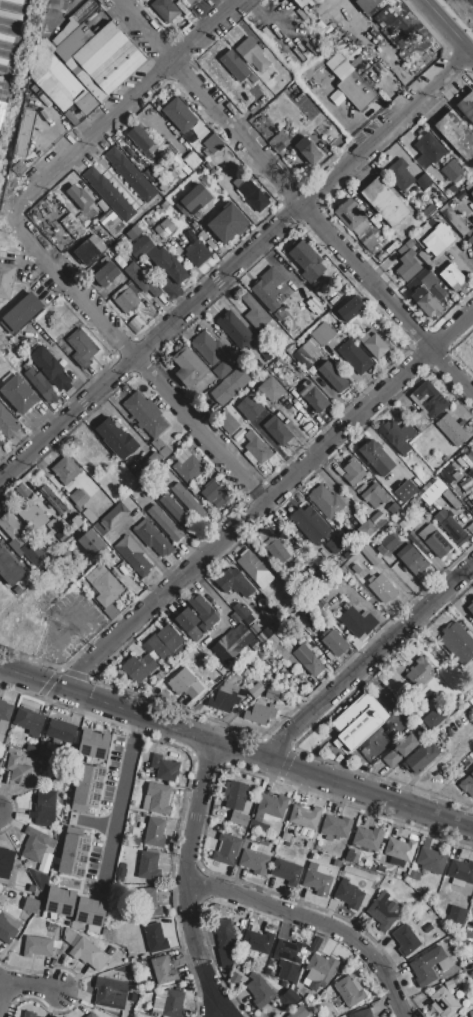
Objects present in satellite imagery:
building: (66, 0)
building: (301, 3)
building: (366, 4)
building: (55, 5)
building: (165, 9)
building: (50, 22)
building: (71, 26)
road: (447, 27)
building: (403, 31)
building: (73, 43)
building: (253, 55)
building: (104, 62)
building: (235, 66)
building: (253, 79)
building: (57, 81)
building: (357, 91)
building: (466, 106)
road: (124, 108)
building: (179, 115)
building: (23, 132)
building: (456, 134)
building: (281, 139)
building: (141, 141)
building: (212, 144)
building: (307, 150)
building: (428, 151)
building: (451, 170)
building: (129, 174)
building: (400, 175)
building: (172, 176)
building: (423, 182)
building: (163, 187)
building: (469, 188)
building: (471, 194)
building: (109, 195)
building: (254, 195)
building: (79, 197)
road: (295, 197)
building: (192, 201)
building: (384, 202)
road: (301, 206)
building: (428, 211)
building: (232, 217)
building: (352, 217)
building: (437, 218)
building: (453, 219)
building: (110, 223)
building: (73, 226)
building: (165, 229)
building: (132, 233)
building: (422, 233)
building: (470, 235)
road: (212, 238)
building: (438, 239)
building: (97, 243)
building: (409, 244)
building: (86, 252)
building: (196, 254)
building: (424, 258)
building: (160, 260)
building: (306, 261)
building: (372, 263)
building: (408, 266)
building: (106, 274)
building: (421, 277)
building: (454, 277)
building: (6, 280)
building: (141, 280)
building: (427, 280)
building: (272, 289)
building: (125, 299)
building: (426, 302)
building: (350, 310)
building: (22, 313)
building: (255, 313)
building: (281, 313)
building: (234, 329)
building: (323, 334)
building: (371, 342)
building: (81, 347)
building: (210, 347)
building: (267, 354)
building: (308, 354)
building: (354, 357)
road: (135, 360)
building: (188, 367)
building: (51, 369)
building: (221, 371)
building: (332, 375)
building: (39, 383)
building: (229, 386)
building: (270, 393)
building: (19, 394)
building: (314, 398)
building: (430, 400)
building: (249, 408)
building: (145, 414)
road: (65, 418)
building: (227, 422)
building: (7, 423)
building: (421, 423)
building: (451, 430)
building: (278, 432)
building: (398, 435)
building: (115, 438)
building: (0, 443)
building: (257, 447)
building: (93, 456)
building: (375, 457)
building: (152, 462)
building: (188, 466)
building: (66, 470)
building: (352, 473)
building: (110, 485)
building: (404, 491)
building: (212, 492)
building: (432, 492)
building: (373, 496)
road: (266, 497)
building: (50, 498)
building: (188, 501)
building: (326, 502)
building: (413, 503)
building: (472, 503)
building: (392, 509)
building: (177, 513)
building: (346, 514)
building: (31, 515)
building: (113, 517)
building: (377, 519)
building: (165, 524)
building: (310, 525)
building: (367, 528)
building: (453, 529)
building: (15, 531)
building: (426, 532)
building: (60, 533)
building: (152, 537)
building: (89, 542)
building: (417, 543)
building: (335, 545)
building: (437, 545)
building: (281, 550)
building: (133, 555)
building: (372, 558)
building: (414, 562)
building: (9, 568)
building: (254, 568)
building: (228, 579)
building: (104, 586)
building: (381, 587)
building: (17, 590)
road: (219, 605)
building: (470, 606)
building: (110, 612)
building: (241, 612)
building: (196, 618)
building: (472, 621)
building: (359, 623)
road: (58, 629)
building: (262, 637)
building: (273, 640)
building: (334, 642)
building: (166, 643)
building: (235, 643)
building: (458, 643)
road: (366, 659)
building: (308, 660)
building: (138, 667)
building: (419, 673)
building: (185, 684)
traffic signals: (63, 690)
building: (256, 690)
building: (272, 694)
building: (226, 697)
building: (260, 712)
building: (4, 714)
building: (434, 718)
building: (358, 720)
building: (29, 721)
building: (61, 731)
building: (93, 745)
road: (236, 747)
building: (31, 749)
building: (41, 750)
building: (400, 750)
building: (421, 758)
building: (0, 759)
building: (164, 768)
building: (20, 769)
building: (467, 784)
building: (87, 788)
building: (235, 795)
road: (119, 796)
building: (157, 799)
building: (44, 805)
building: (271, 807)
building: (305, 817)
building: (239, 819)
building: (336, 826)
building: (258, 827)
building: (235, 830)
building: (155, 832)
building: (286, 837)
building: (138, 842)
building: (363, 843)
building: (36, 844)
building: (308, 845)
building: (226, 849)
building: (74, 852)
building: (399, 852)
building: (431, 859)
building: (5, 862)
building: (254, 862)
building: (148, 866)
building: (380, 869)
building: (462, 871)
building: (286, 872)
building: (121, 873)
building: (414, 875)
building: (318, 880)
road: (189, 881)
building: (348, 894)
building: (364, 900)
building: (60, 902)
building: (152, 903)
building: (30, 906)
building: (382, 911)
building: (90, 912)
building: (457, 915)
road: (314, 922)
building: (7, 927)
building: (155, 938)
building: (405, 940)
building: (224, 941)
building: (258, 941)
building: (315, 945)
building: (37, 947)
building: (101, 947)
building: (80, 948)
building: (288, 959)
building: (444, 965)
building: (427, 966)
building: (163, 970)
building: (319, 971)
building: (234, 979)
building: (449, 985)
road: (27, 986)
building: (349, 989)
building: (260, 990)
building: (109, 994)
building: (290, 996)
road: (3, 998)
building: (445, 1002)
building: (173, 1004)
building: (299, 1012)
building: (471, 1013)
building: (361, 1014)
building: (91, 1015)
building: (28, 1016)

